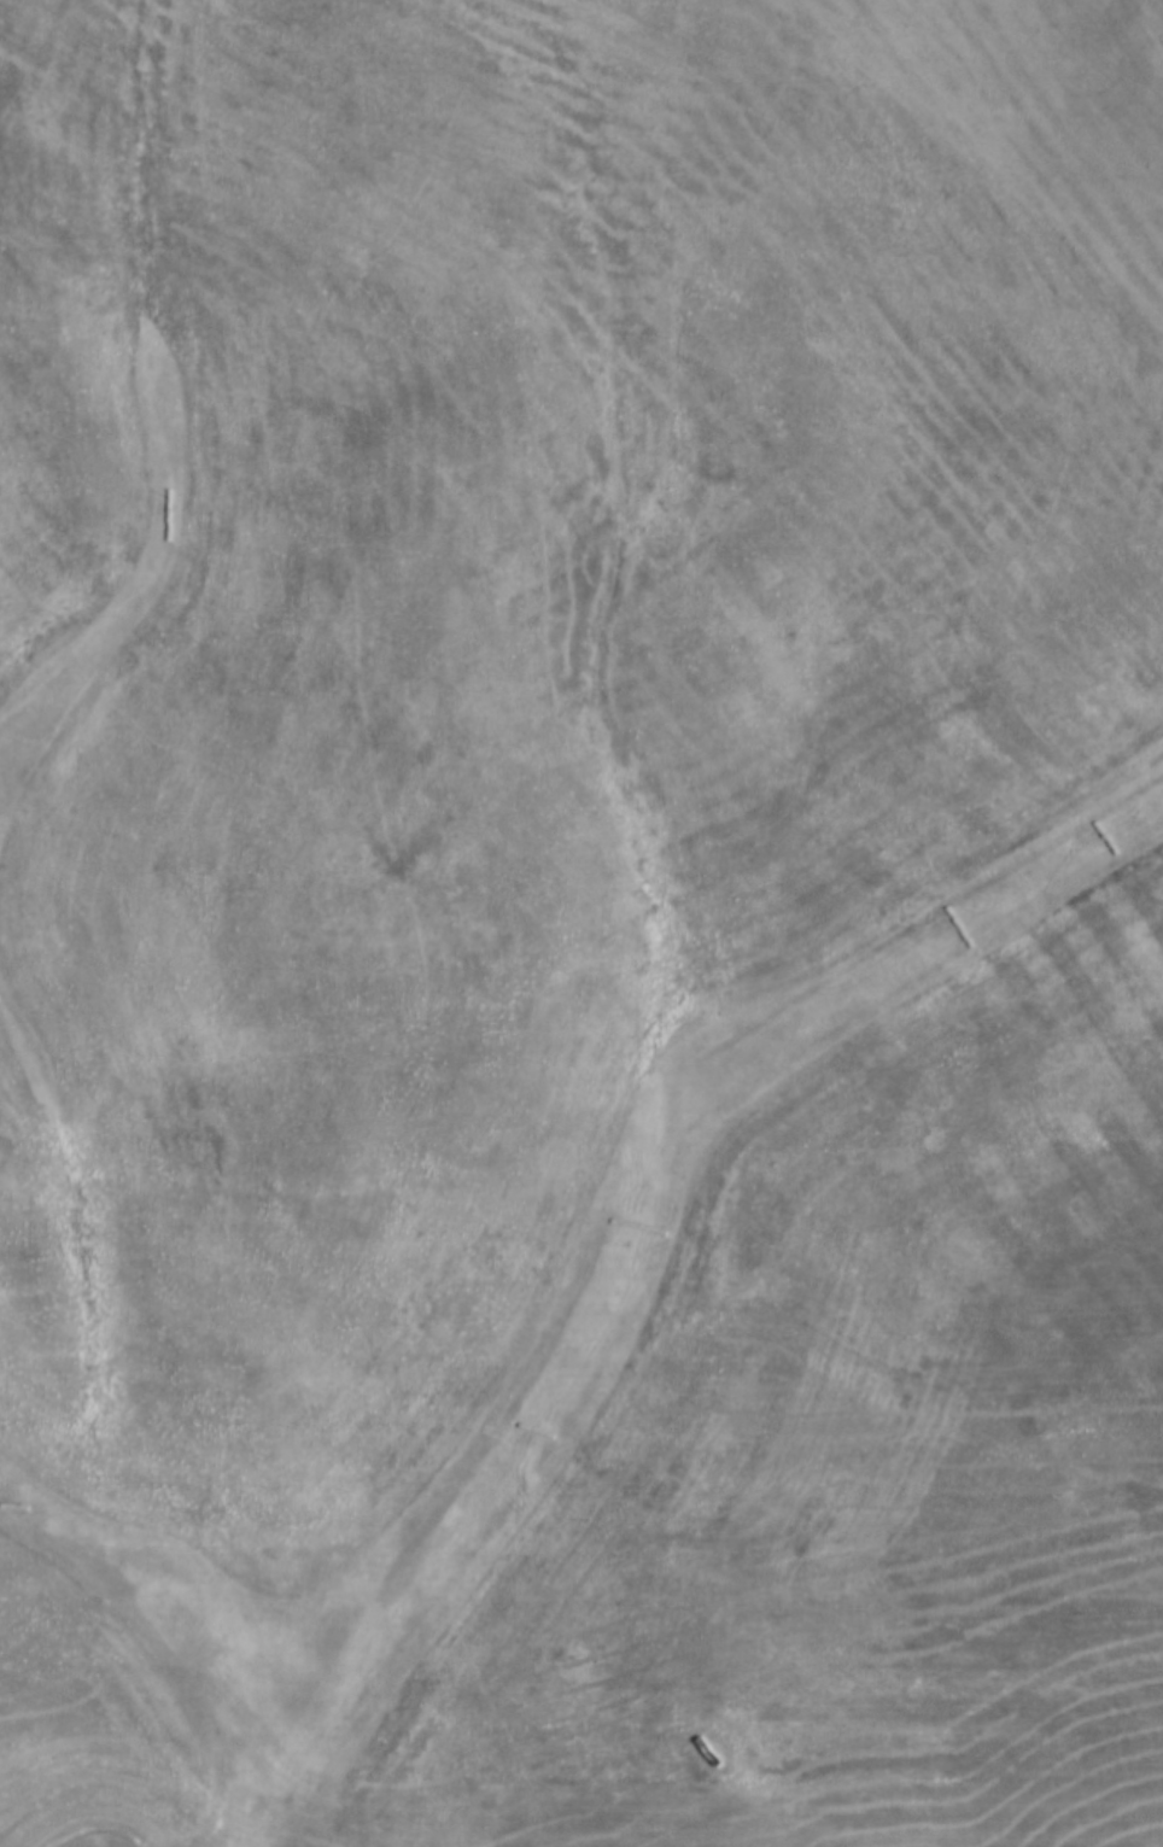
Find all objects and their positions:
building: (699, 1747)

